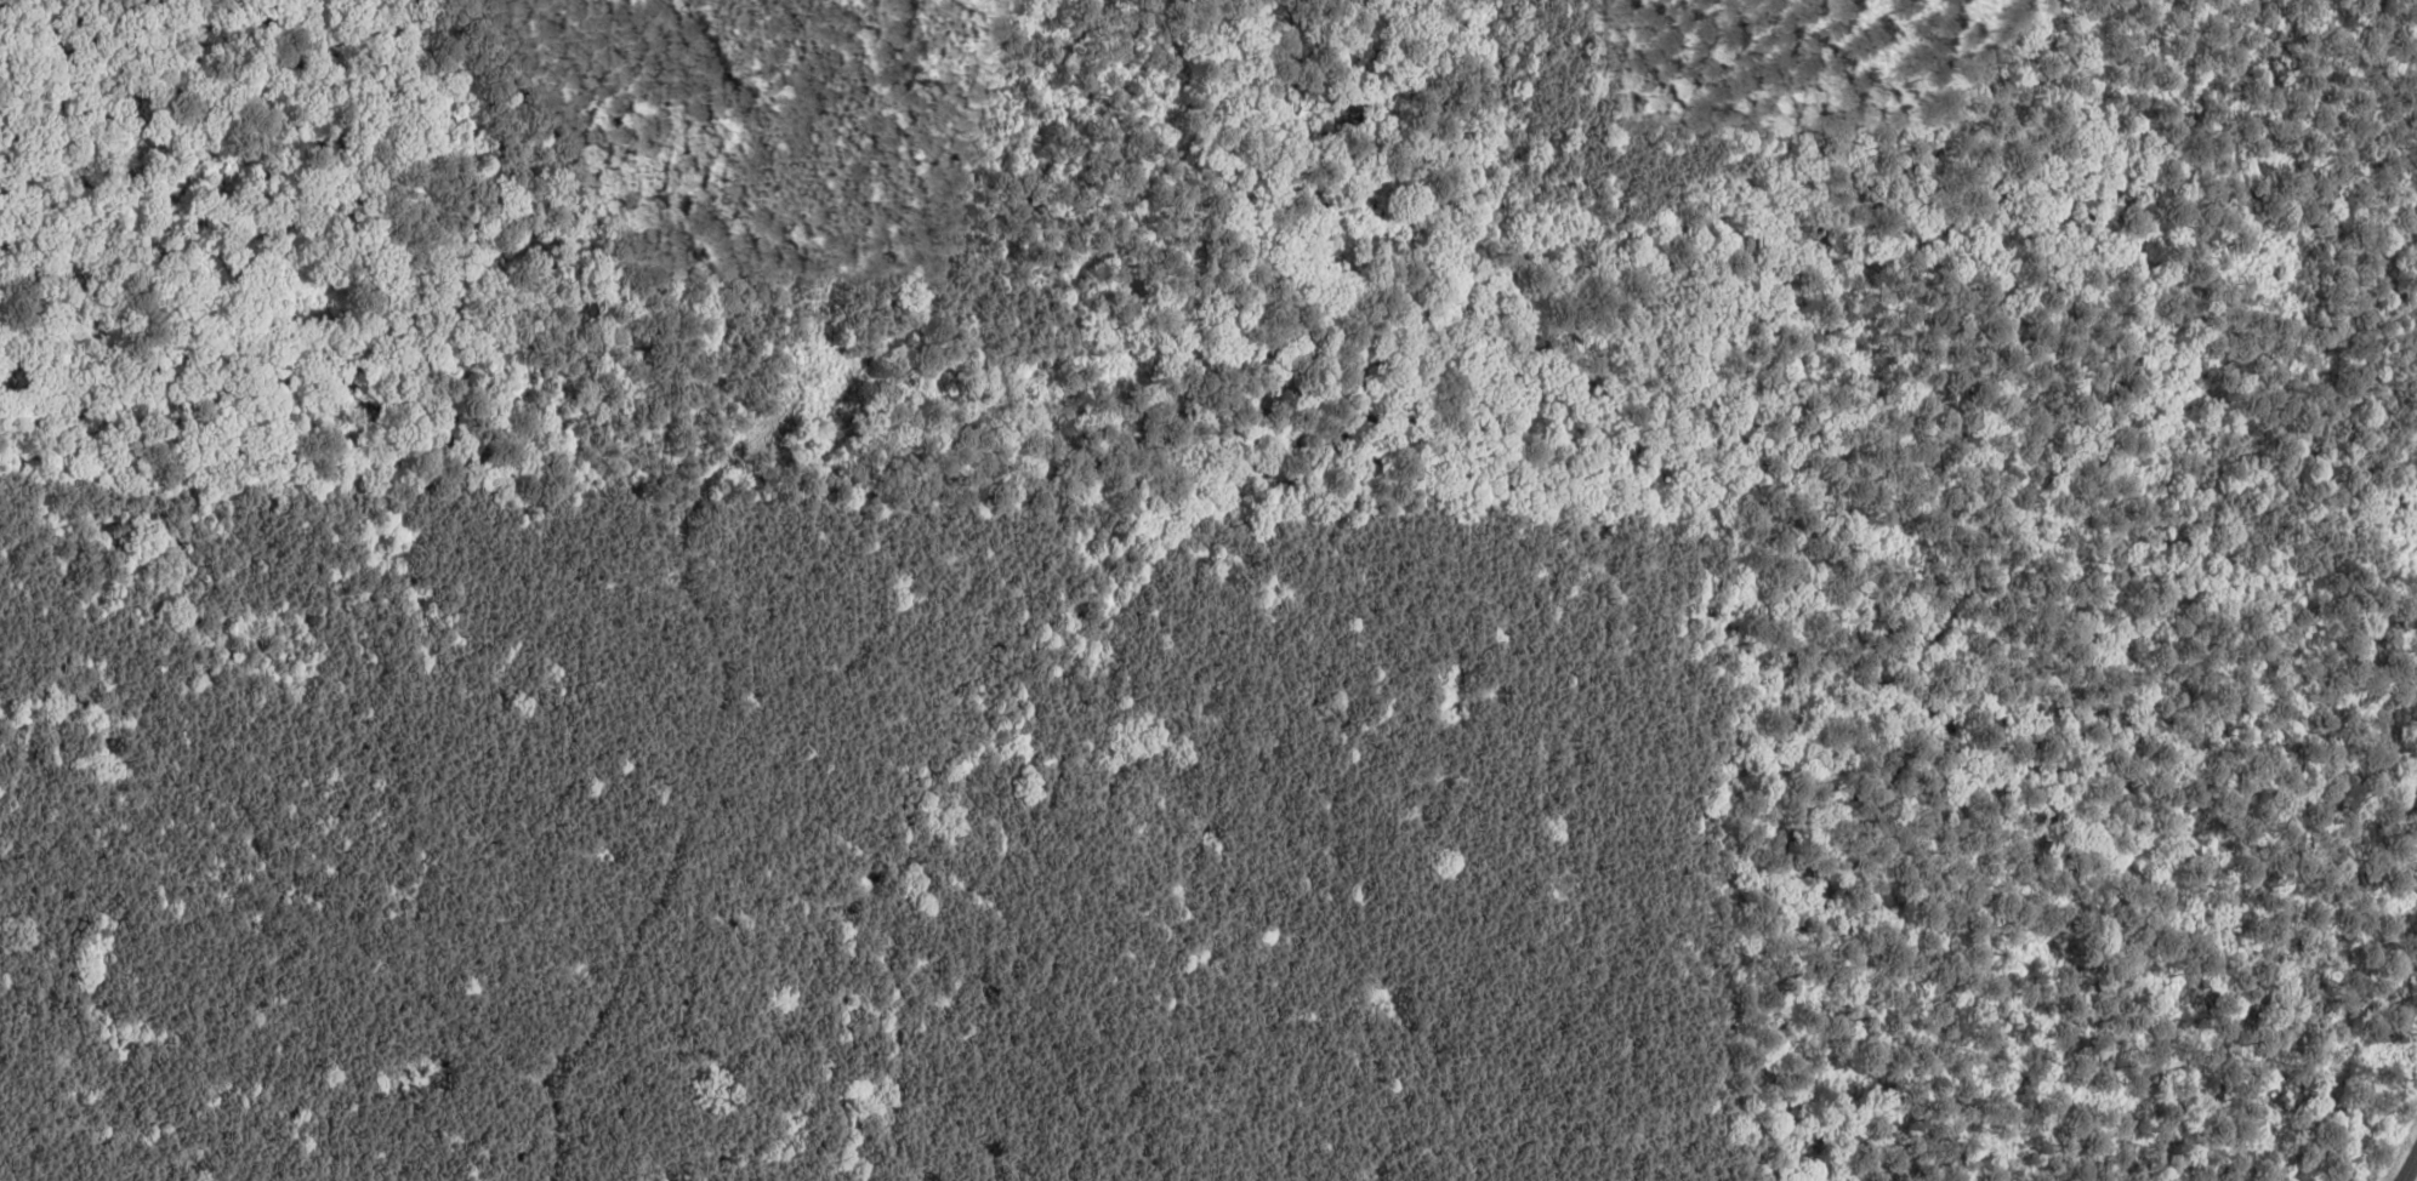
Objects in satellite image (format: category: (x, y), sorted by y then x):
road: (2402, 1153)

